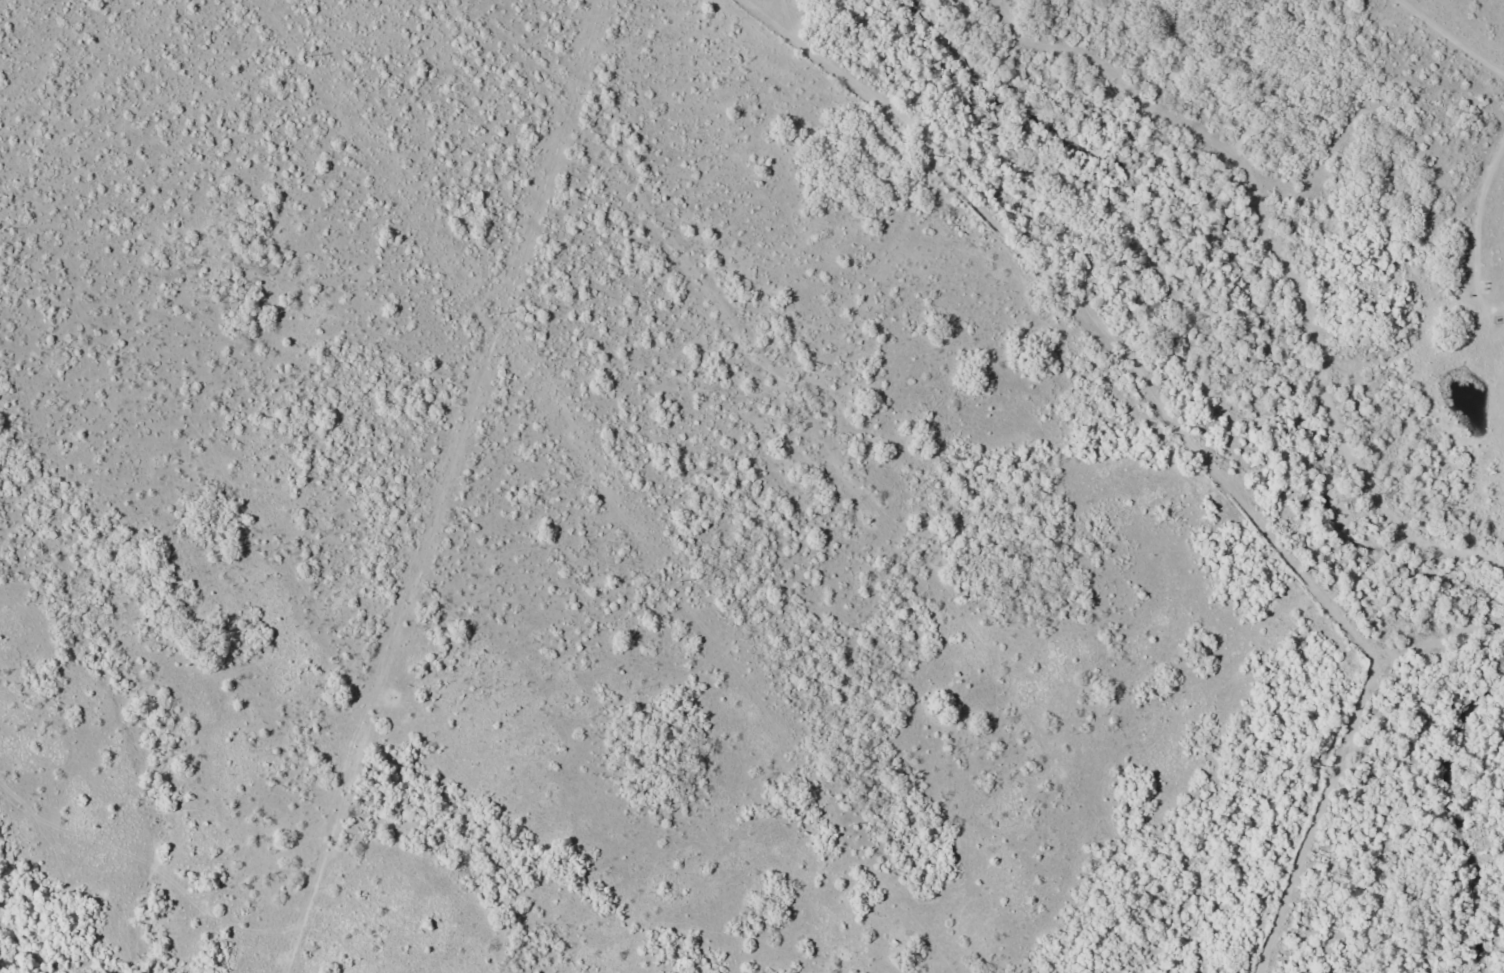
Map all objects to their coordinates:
road: (1449, 40)

